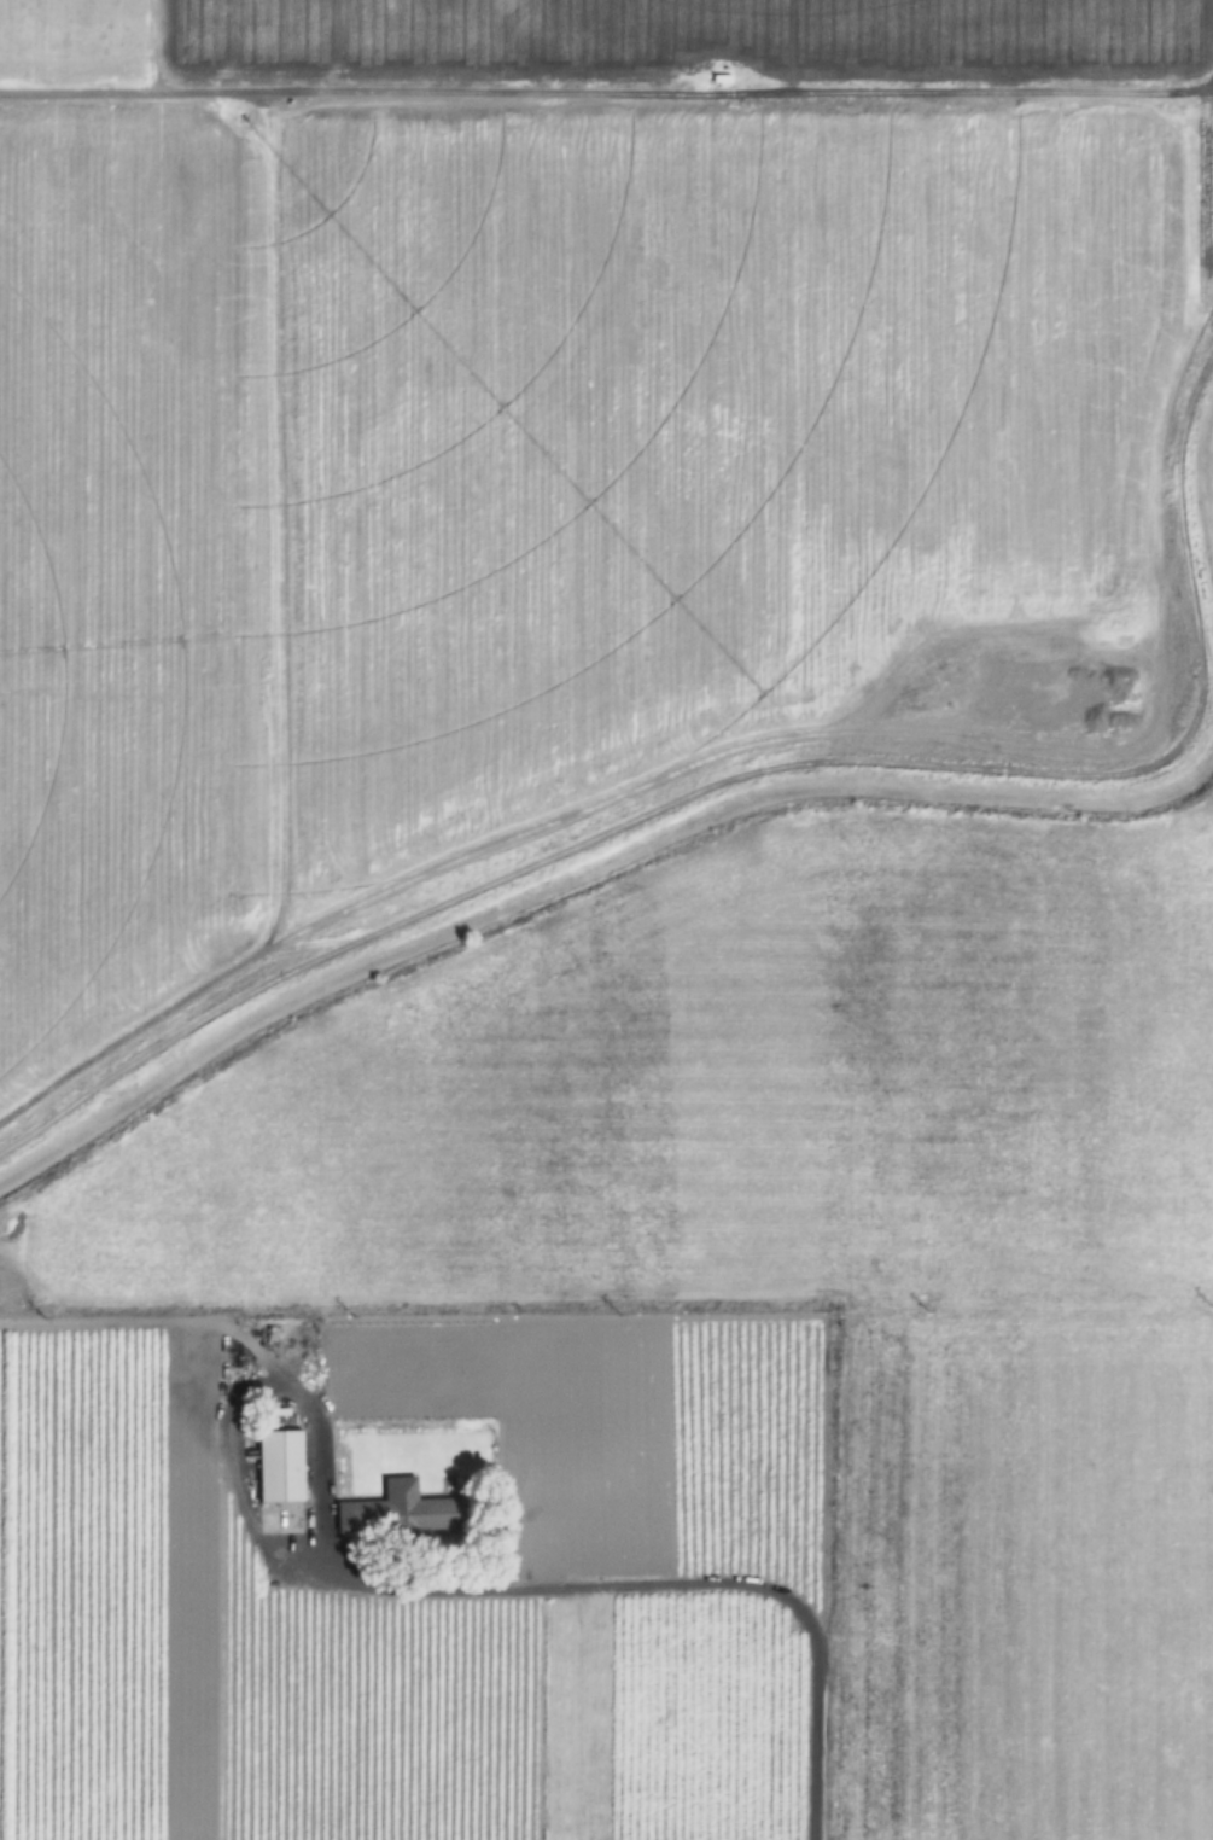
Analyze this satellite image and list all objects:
building: (1083, 727)
road: (771, 773)
building: (281, 1467)
building: (402, 1513)

